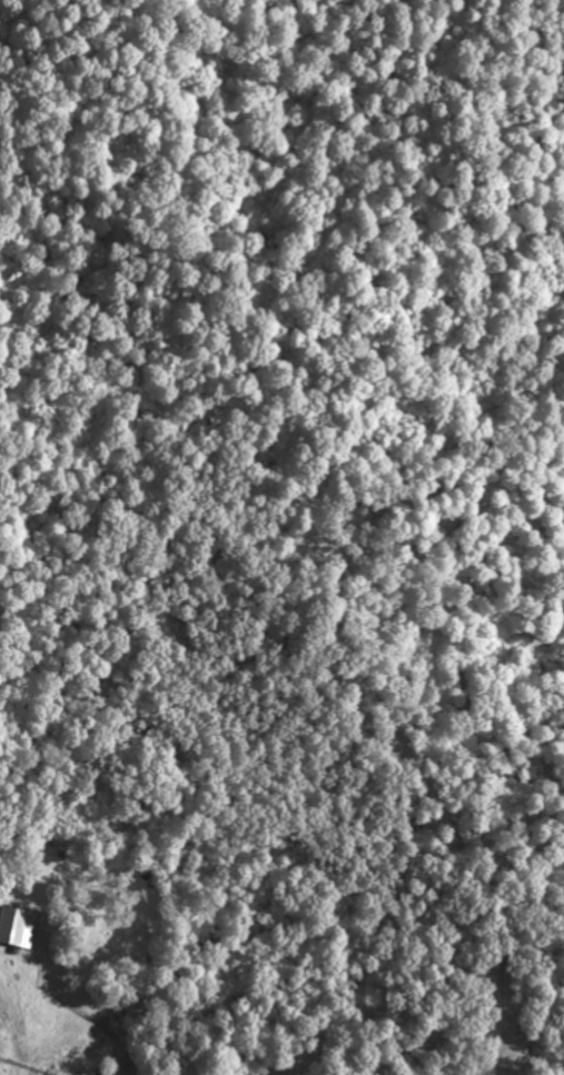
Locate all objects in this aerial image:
building: (17, 929)

